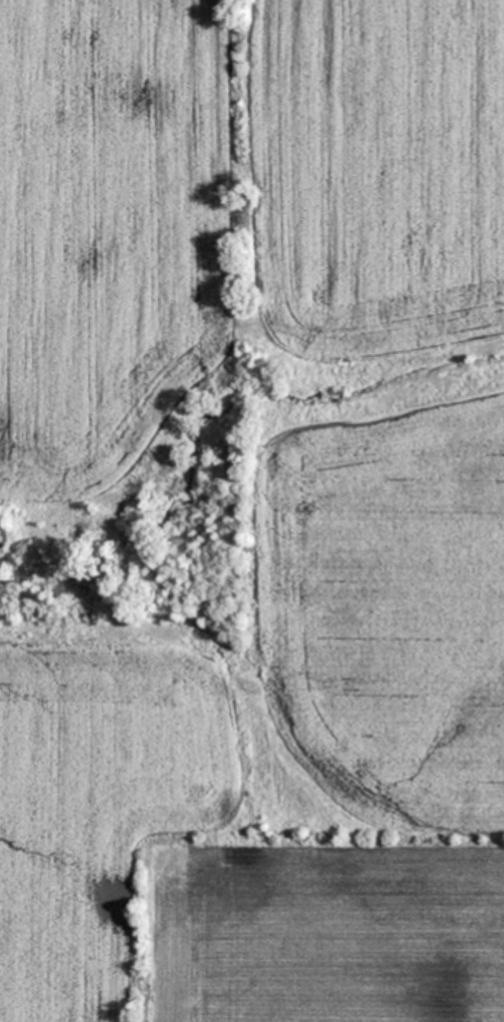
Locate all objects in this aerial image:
crop: (382, 562)

